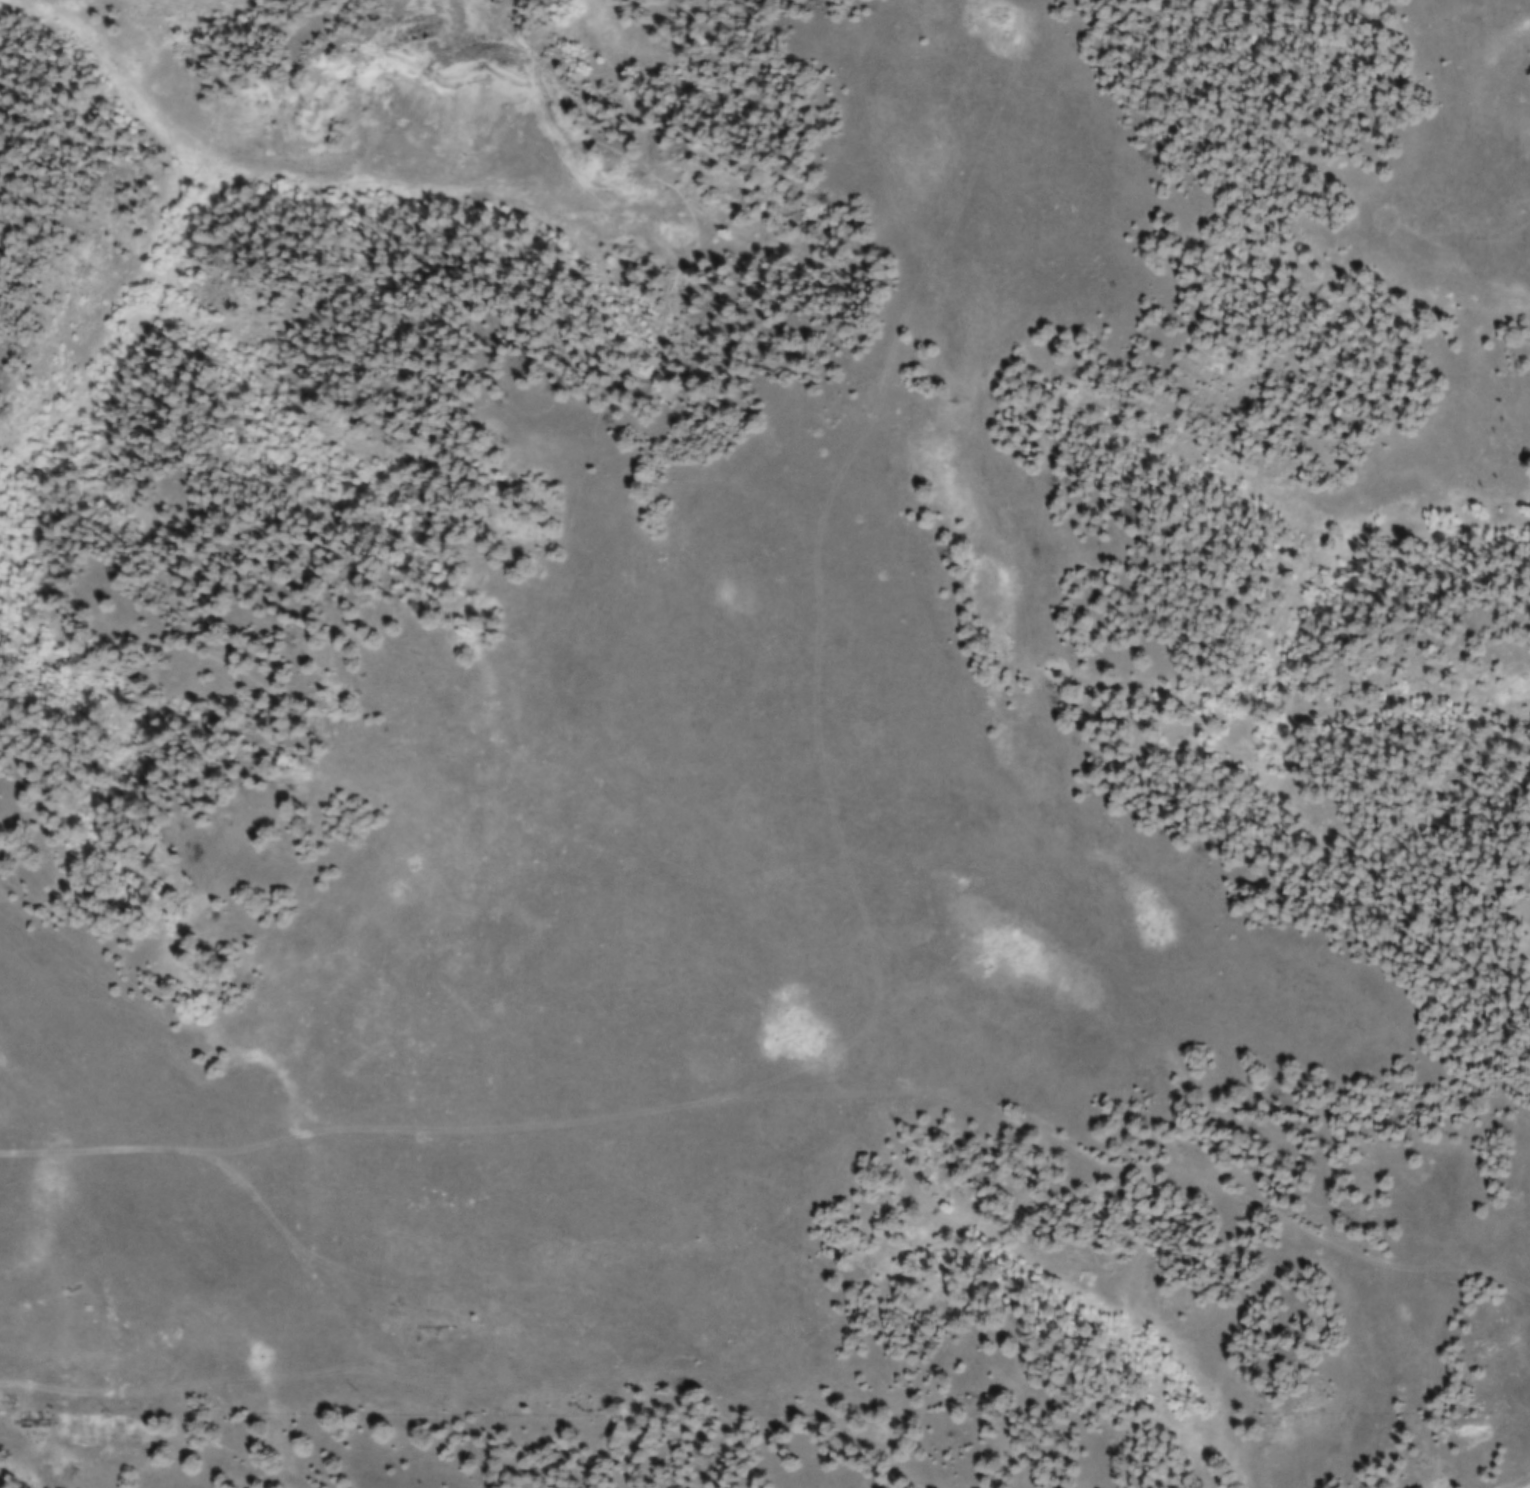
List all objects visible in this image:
road: (286, 1226)
road: (190, 1448)

